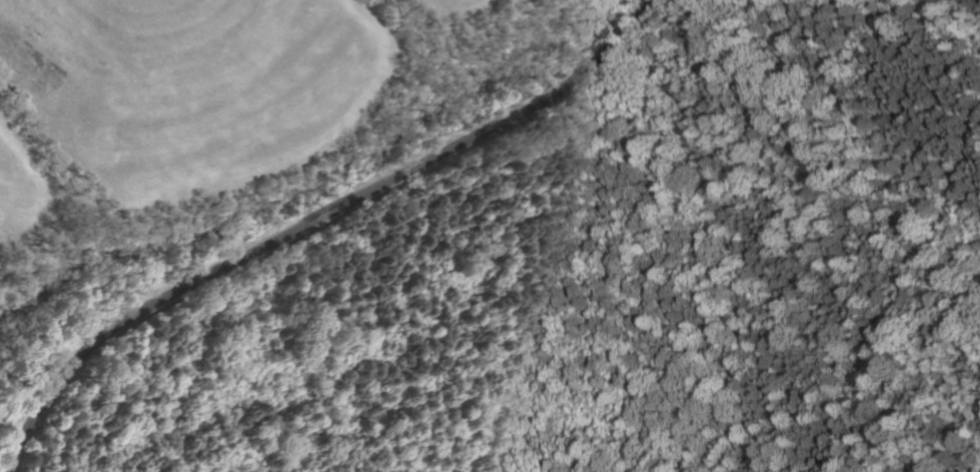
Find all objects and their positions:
road: (311, 218)

